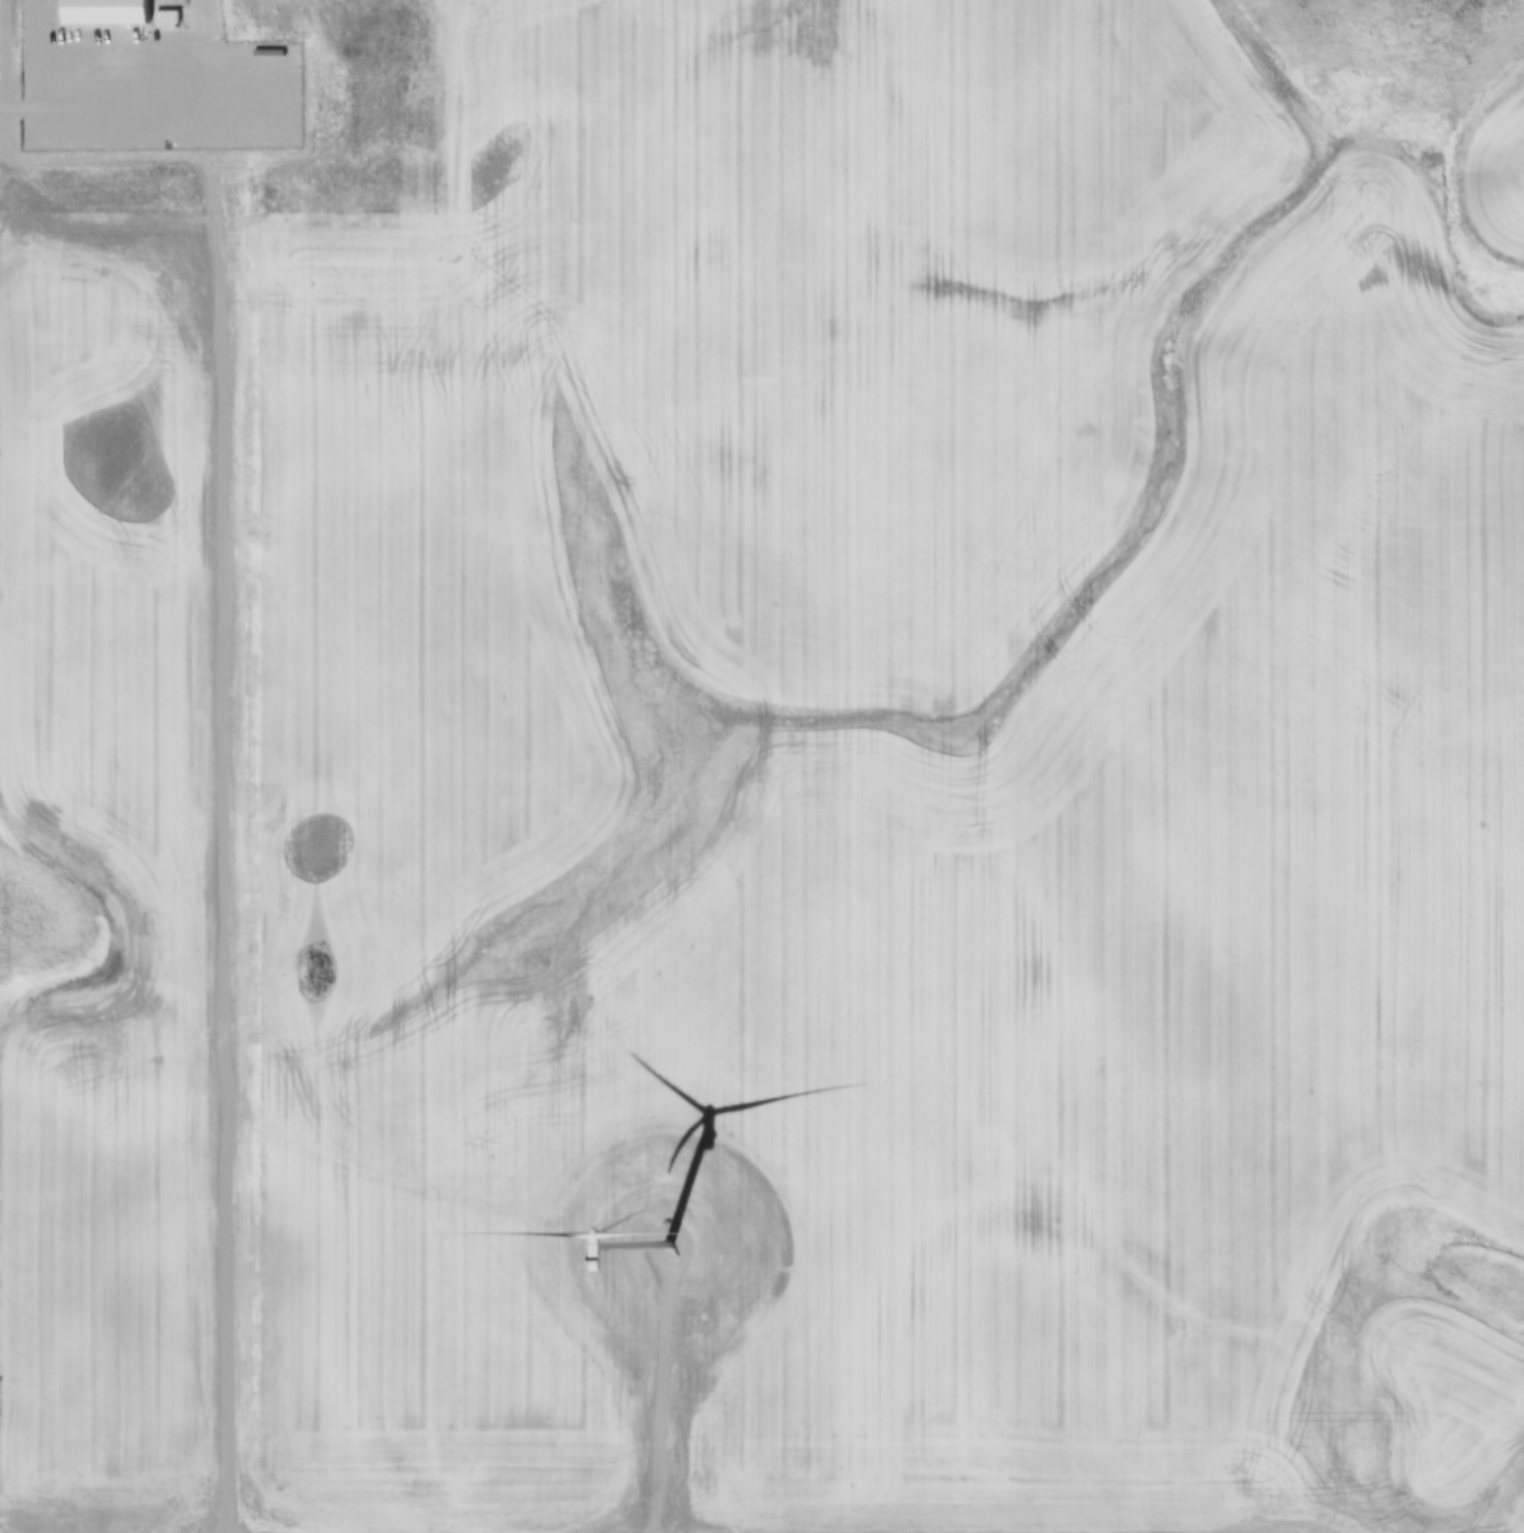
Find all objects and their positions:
building: (103, 13)
road: (18, 193)
road: (214, 877)
wind turbine: (657, 1238)
road: (662, 1412)

